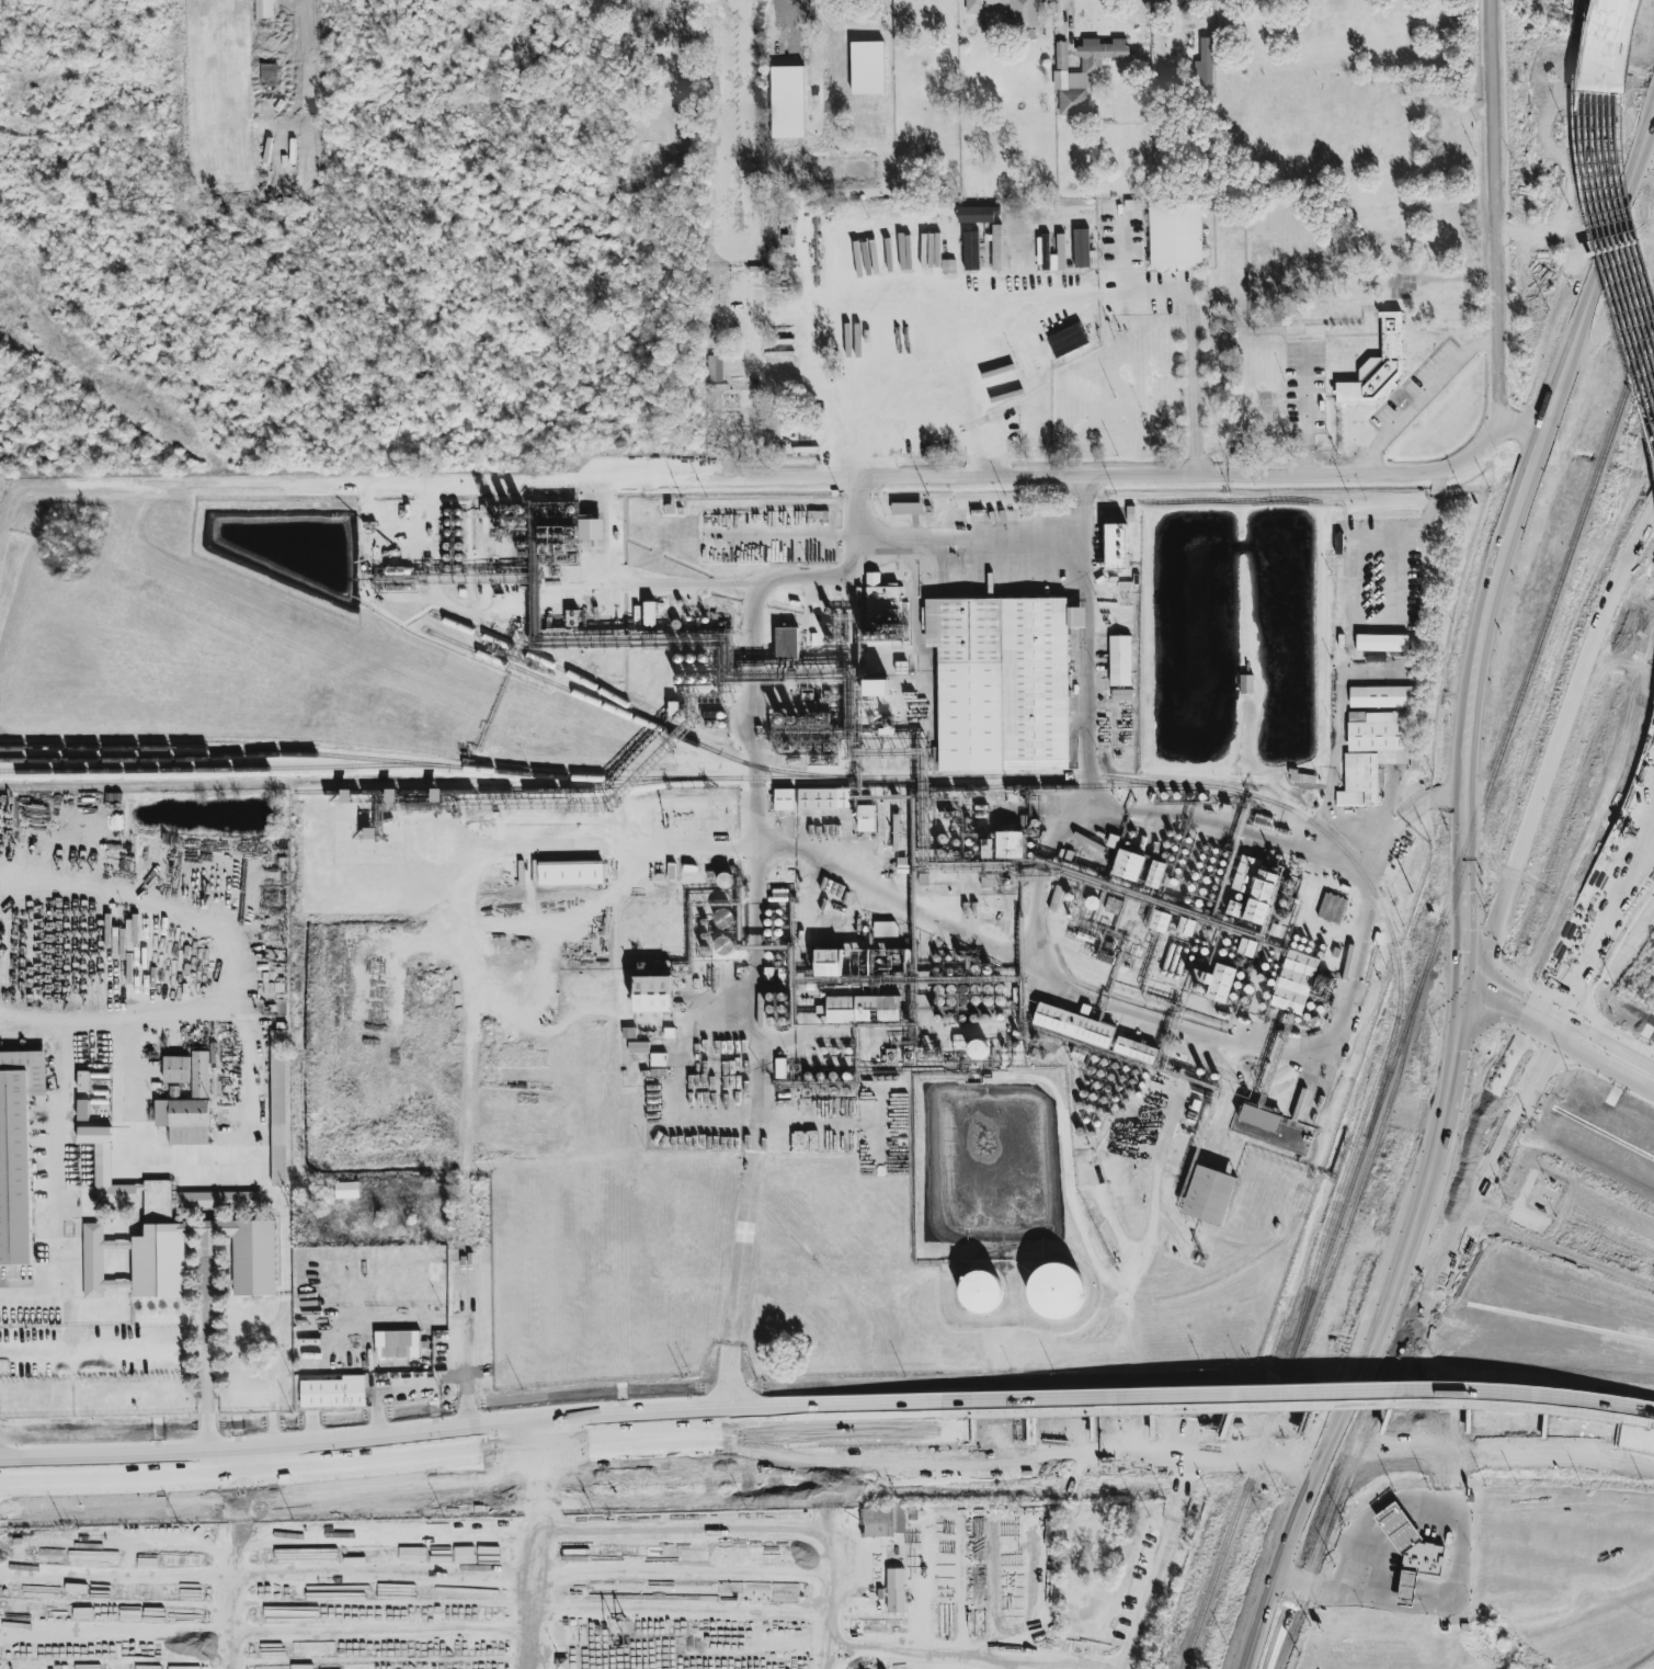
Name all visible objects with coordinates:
building: (264, 9)
building: (1006, 11)
road: (1068, 16)
road: (1174, 19)
building: (1202, 67)
building: (867, 68)
road: (38, 69)
building: (1083, 72)
building: (269, 75)
building: (787, 103)
road: (1617, 158)
road: (1496, 212)
building: (977, 215)
road: (1599, 216)
building: (1175, 235)
building: (996, 248)
building: (1081, 249)
building: (971, 251)
road: (879, 297)
road: (1191, 304)
building: (1066, 341)
building: (1379, 366)
building: (715, 368)
road: (1423, 396)
road: (1304, 407)
road: (1524, 421)
road: (794, 479)
building: (906, 509)
building: (555, 532)
road: (782, 535)
road: (969, 540)
building: (1116, 547)
road: (639, 582)
road: (1354, 601)
building: (883, 612)
road: (1085, 618)
road: (752, 623)
railway: (1538, 639)
building: (786, 644)
building: (1120, 661)
railway: (575, 679)
building: (1002, 682)
building: (876, 689)
building: (1382, 697)
railway: (643, 723)
road: (1556, 731)
building: (1373, 753)
railway: (393, 763)
railway: (916, 779)
railway: (1059, 787)
railway: (415, 790)
building: (823, 799)
building: (784, 801)
building: (866, 819)
building: (681, 822)
road: (1626, 832)
building: (370, 840)
road: (614, 843)
building: (1009, 845)
building: (1128, 865)
building: (570, 873)
building: (1155, 875)
road: (1634, 877)
road: (1634, 887)
building: (1255, 889)
building: (1331, 909)
building: (1160, 920)
building: (828, 963)
traffic signals: (1554, 973)
building: (1217, 983)
building: (1293, 983)
road: (757, 994)
building: (653, 995)
road: (1497, 1001)
building: (864, 1010)
building: (1074, 1026)
road: (1176, 1026)
traffic signals: (1589, 1031)
road: (1596, 1034)
building: (638, 1048)
building: (979, 1051)
building: (1136, 1051)
road: (1589, 1060)
traffic signals: (1538, 1066)
building: (779, 1068)
road: (1467, 1068)
building: (178, 1069)
building: (199, 1076)
building: (83, 1082)
building: (278, 1109)
building: (83, 1111)
building: (1259, 1119)
road: (475, 1128)
building: (18, 1151)
railway: (1368, 1161)
building: (106, 1169)
road: (1456, 1170)
road: (1479, 1179)
railway: (1339, 1187)
building: (346, 1191)
road: (271, 1192)
building: (1209, 1195)
road: (1153, 1204)
building: (158, 1247)
road: (737, 1285)
building: (1056, 1292)
building: (979, 1293)
railway: (1302, 1321)
road: (208, 1335)
building: (397, 1346)
road: (1506, 1392)
building: (333, 1393)
road: (1090, 1396)
road: (208, 1420)
road: (1239, 1420)
road: (411, 1427)
road: (411, 1456)
road: (1320, 1502)
road: (1426, 1509)
building: (883, 1522)
road: (1393, 1525)
building: (1396, 1530)
gas station: (1396, 1530)
road: (1346, 1542)
road: (1451, 1545)
road: (532, 1556)
building: (1422, 1560)
road: (1157, 1565)
road: (832, 1570)
road: (227, 1583)
building: (1406, 1590)
gas station: (1406, 1590)
building: (896, 1591)
road: (1345, 1592)
road: (1406, 1592)
road: (1280, 1617)
road: (963, 1661)

